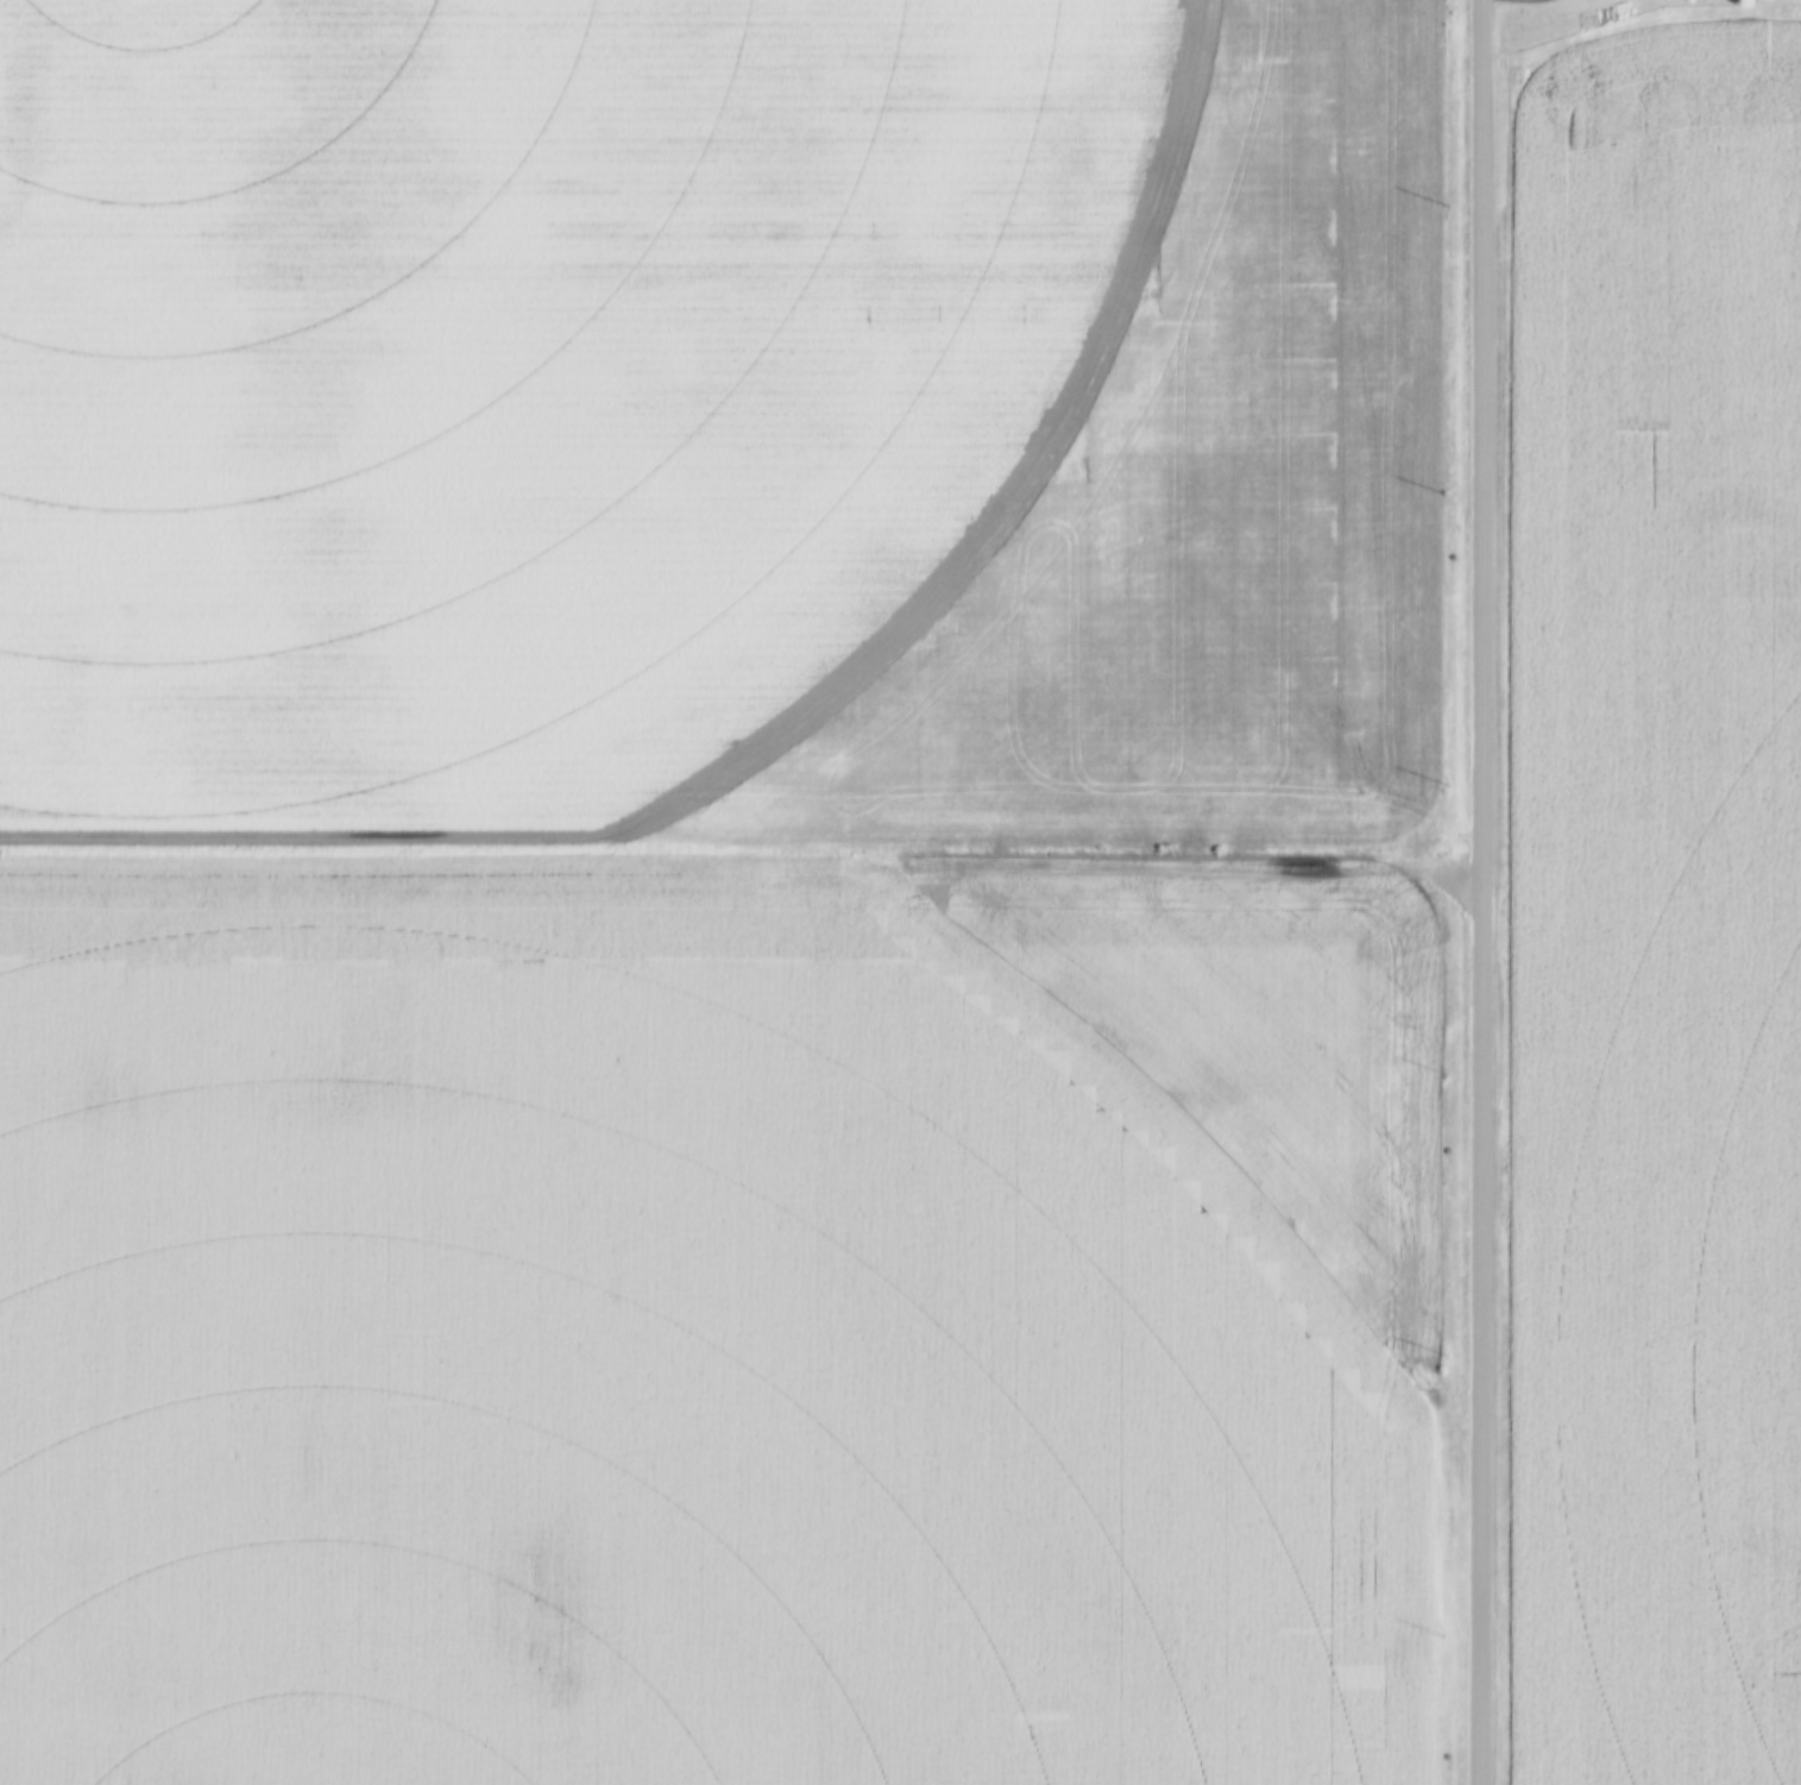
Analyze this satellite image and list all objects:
road: (1482, 892)

